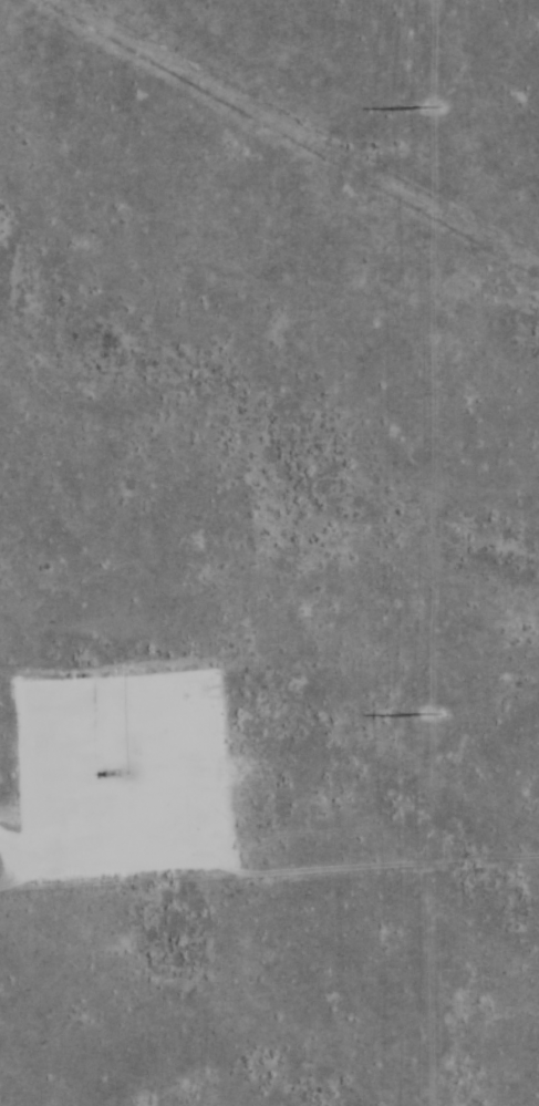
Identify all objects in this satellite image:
power tower: (431, 106)
power tower: (432, 714)

